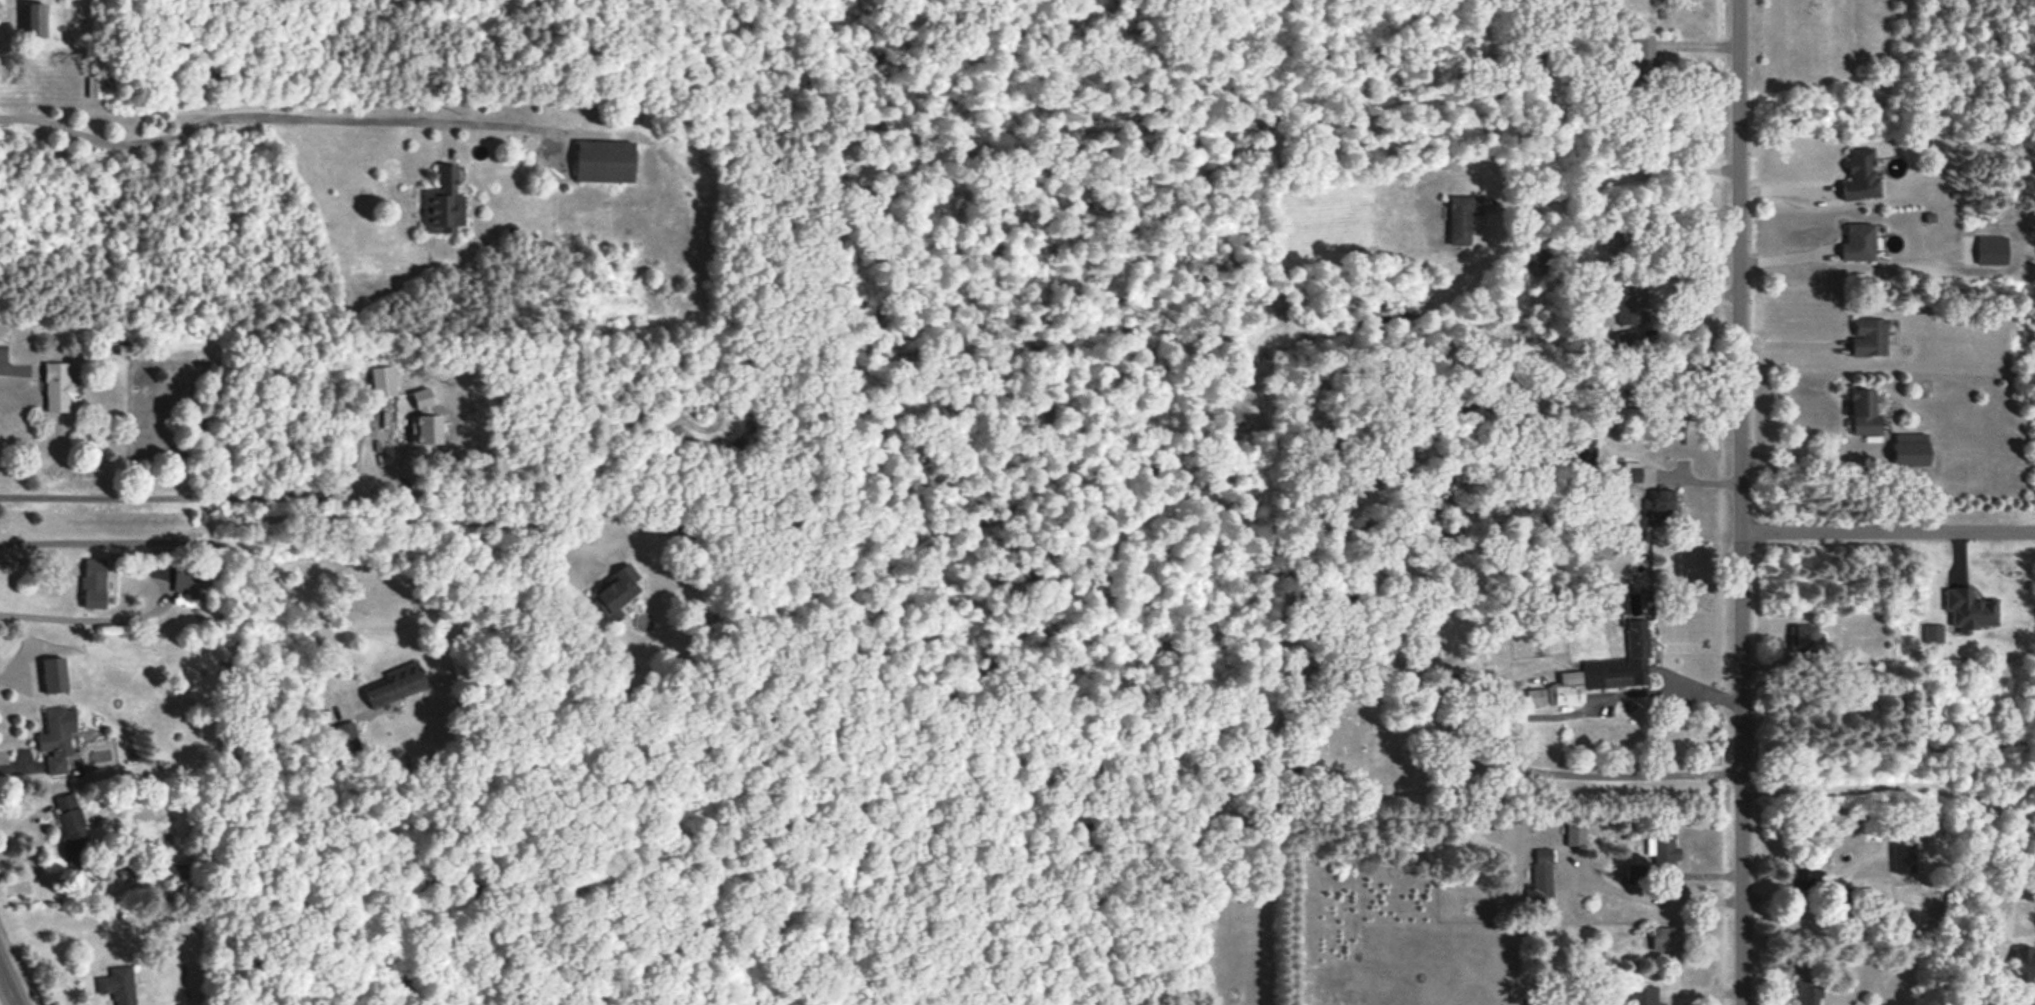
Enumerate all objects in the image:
building: (33, 20)
building: (1644, 55)
building: (95, 86)
road: (276, 115)
building: (604, 161)
building: (1859, 175)
road: (1621, 178)
building: (443, 203)
building: (1461, 217)
building: (1858, 242)
building: (1991, 249)
road: (1785, 256)
building: (1631, 304)
building: (1869, 337)
road: (14, 377)
building: (383, 381)
building: (56, 386)
building: (1862, 412)
building: (424, 420)
building: (1909, 449)
road: (1808, 457)
building: (1628, 472)
road: (211, 496)
road: (1743, 502)
building: (1660, 503)
road: (283, 517)
road: (1889, 535)
road: (37, 562)
road: (269, 575)
building: (185, 579)
building: (93, 583)
building: (615, 591)
building: (1969, 609)
road: (56, 618)
building: (1933, 633)
building: (1802, 638)
building: (1621, 661)
building: (53, 674)
building: (398, 684)
building: (1565, 689)
building: (1535, 696)
road: (1591, 703)
building: (346, 735)
building: (57, 738)
road: (1893, 788)
road: (1347, 797)
building: (72, 829)
building: (1574, 833)
building: (1902, 857)
building: (1542, 872)
building: (177, 873)
building: (1635, 873)
building: (1803, 879)
road: (1811, 895)
road: (1651, 898)
road: (1994, 909)
building: (1665, 938)
building: (2023, 963)
road: (11, 980)
building: (118, 984)
building: (1808, 991)
building: (1638, 994)

